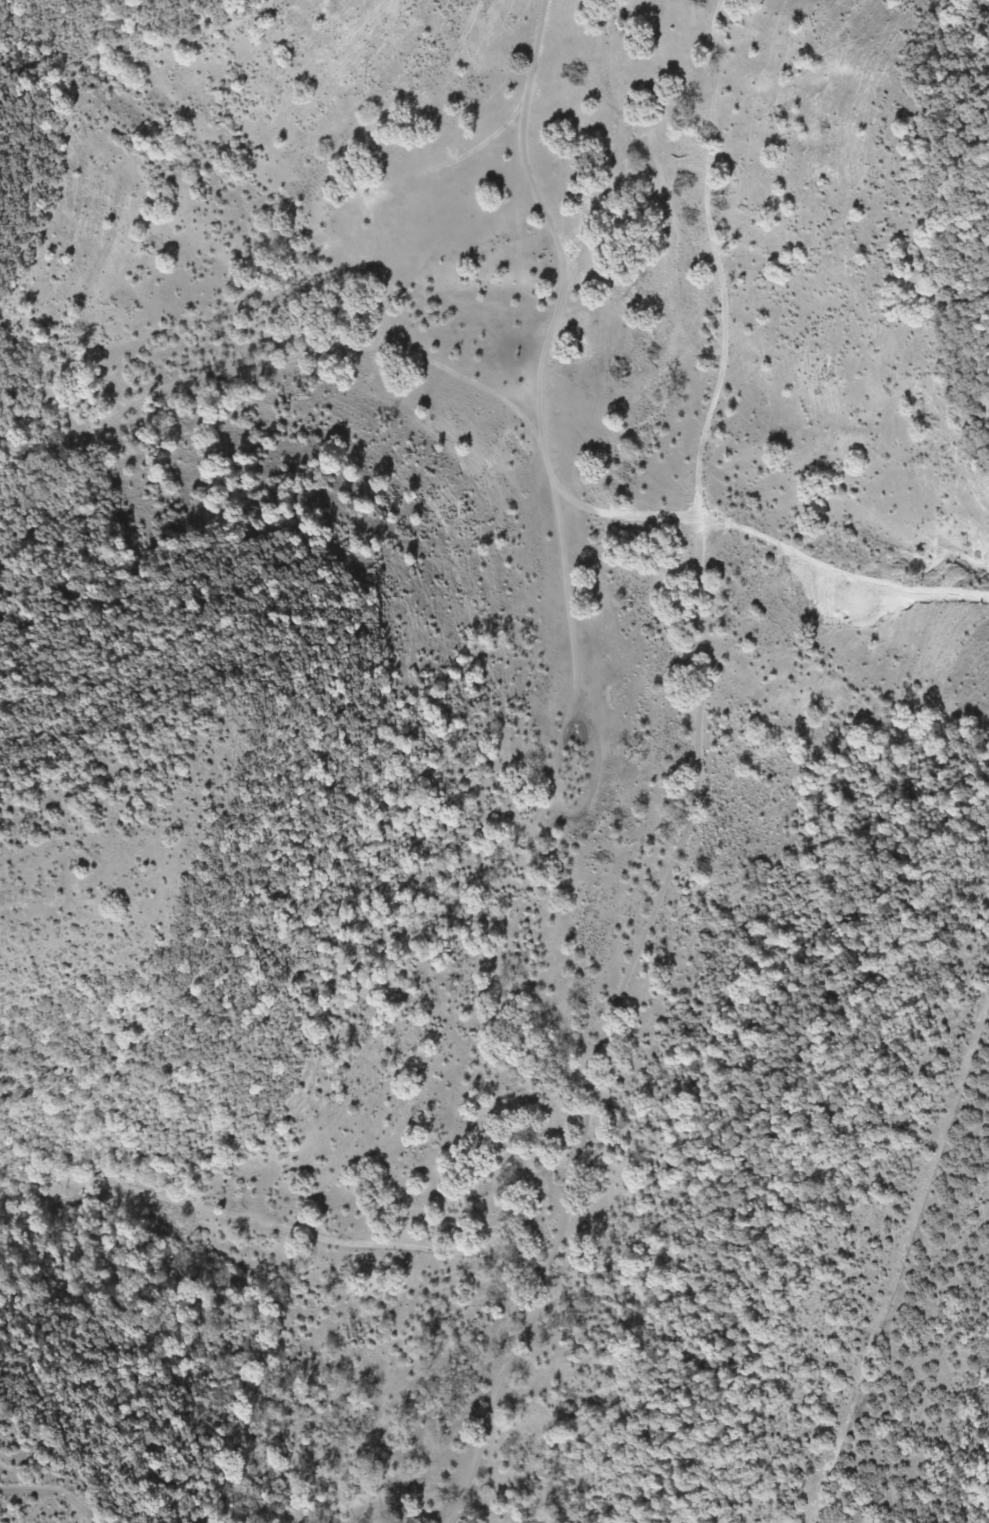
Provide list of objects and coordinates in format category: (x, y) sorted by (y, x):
road: (556, 456)

